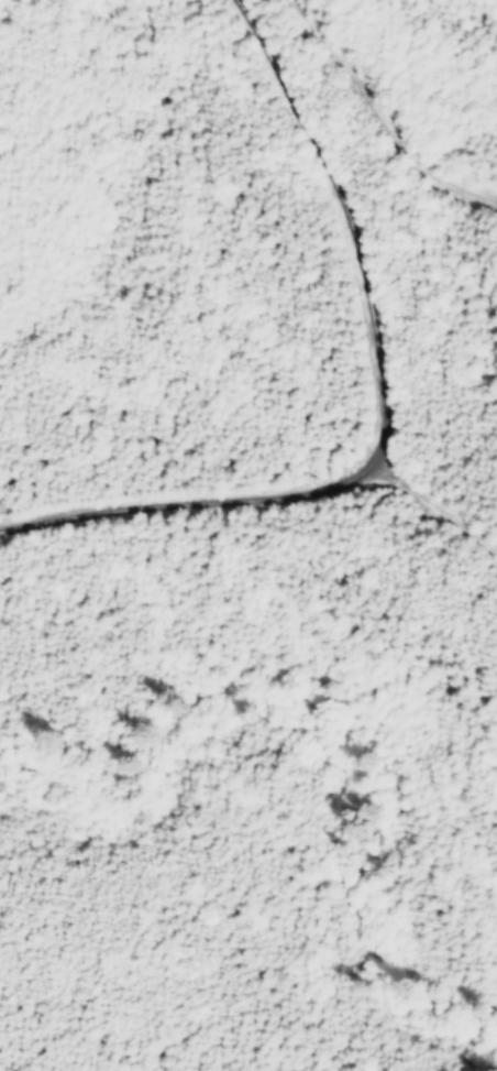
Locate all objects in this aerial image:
road: (413, 414)

